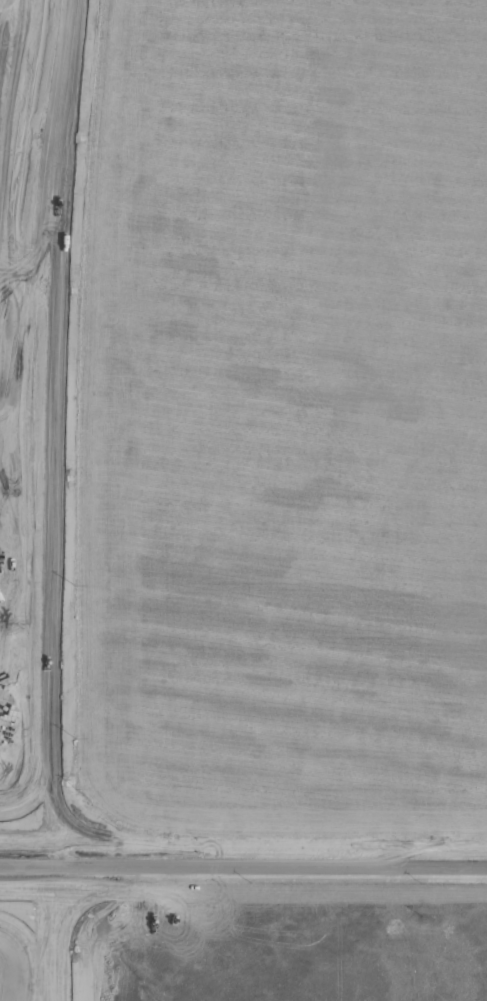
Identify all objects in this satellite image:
road: (272, 863)
road: (29, 864)
road: (58, 932)

